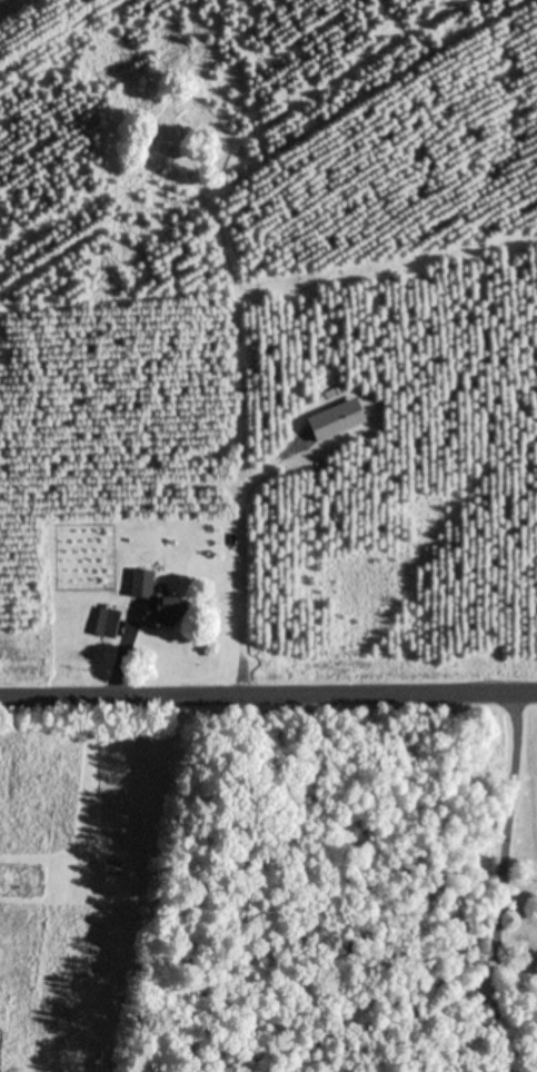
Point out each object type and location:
building: (139, 585)
building: (159, 614)
building: (105, 624)
road: (268, 691)
building: (109, 870)

